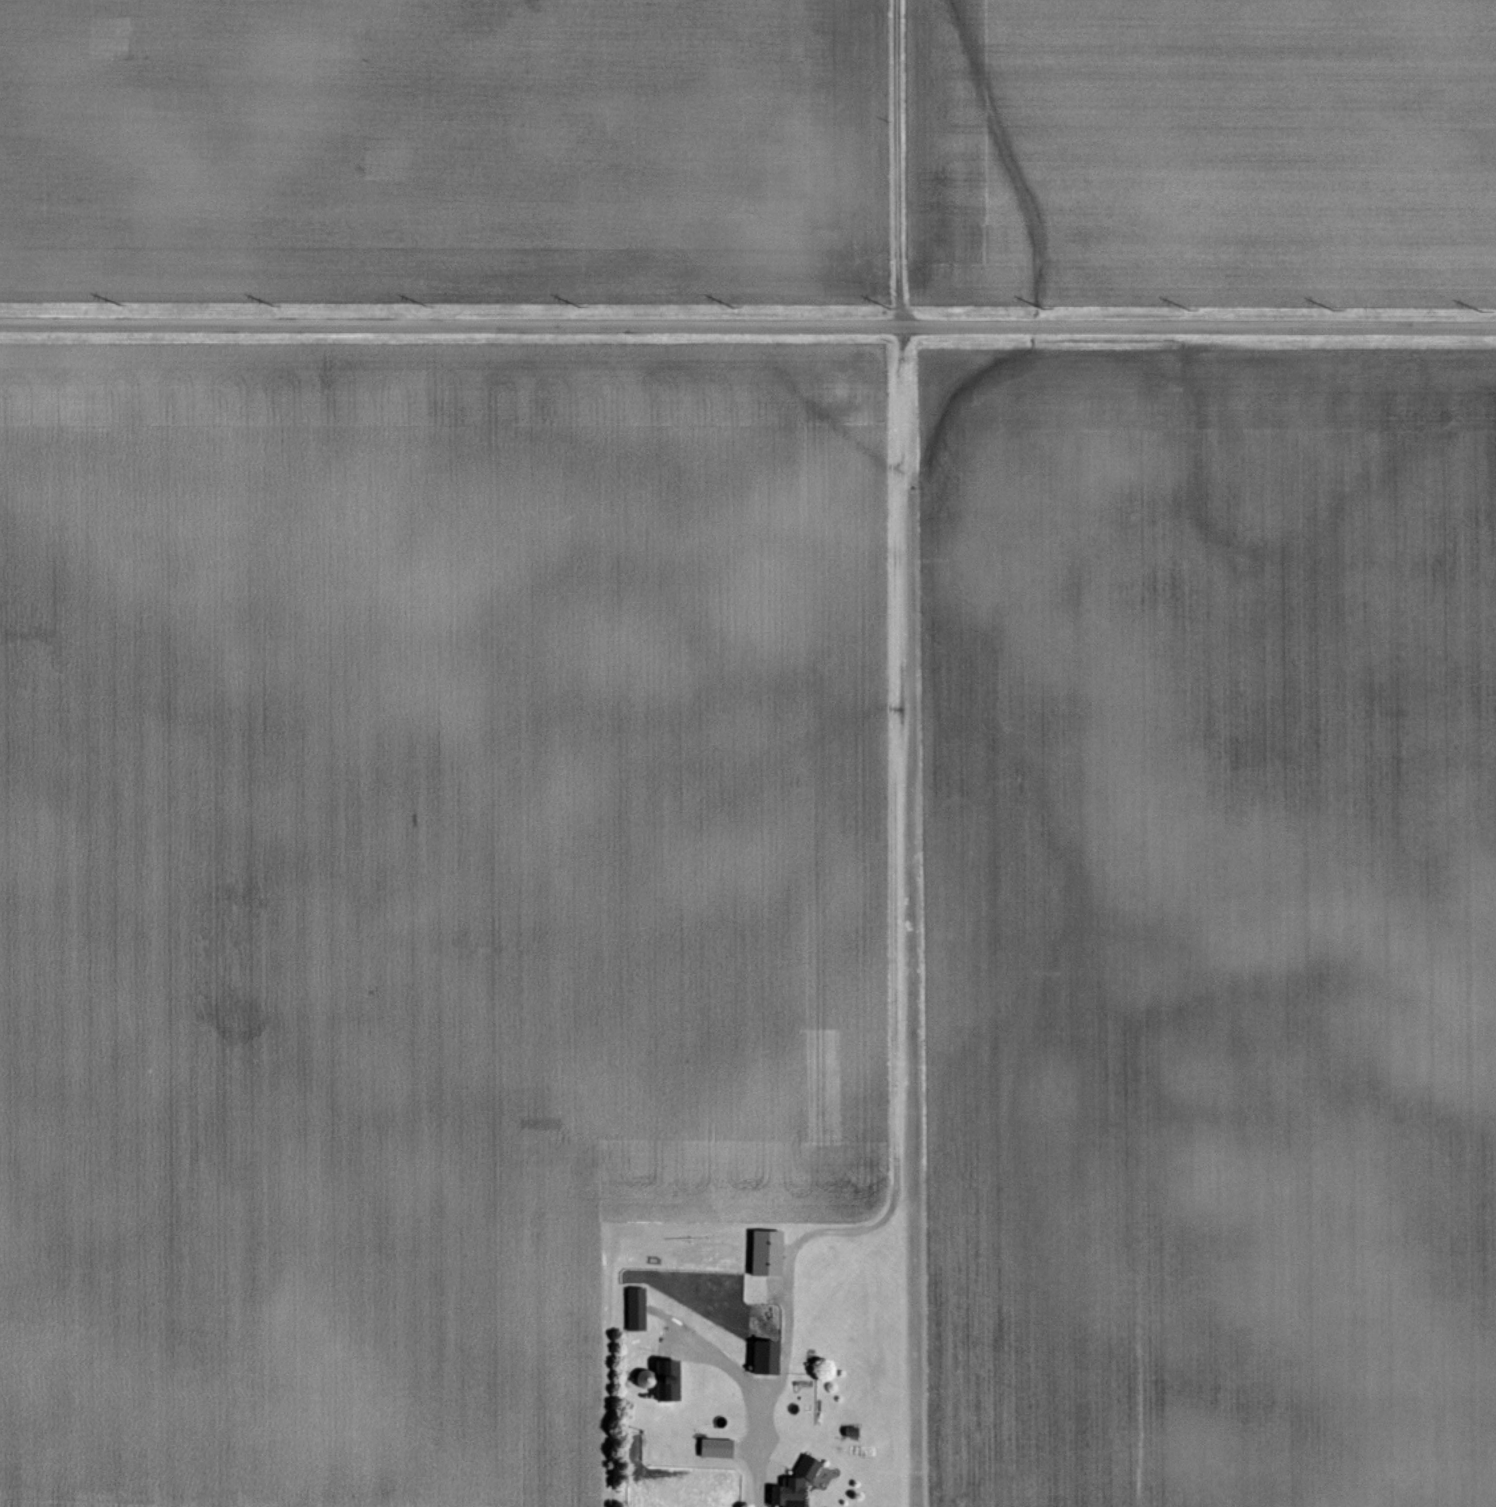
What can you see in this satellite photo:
crop: (445, 151)
road: (899, 163)
road: (747, 326)
crop: (418, 887)
crop: (1209, 926)
road: (896, 1153)
road: (872, 1227)
building: (769, 1253)
building: (637, 1309)
building: (768, 1357)
road: (729, 1365)
road: (779, 1373)
building: (648, 1379)
building: (669, 1380)
building: (851, 1432)
road: (766, 1447)
building: (717, 1448)
road: (746, 1451)
road: (788, 1456)
building: (795, 1485)

